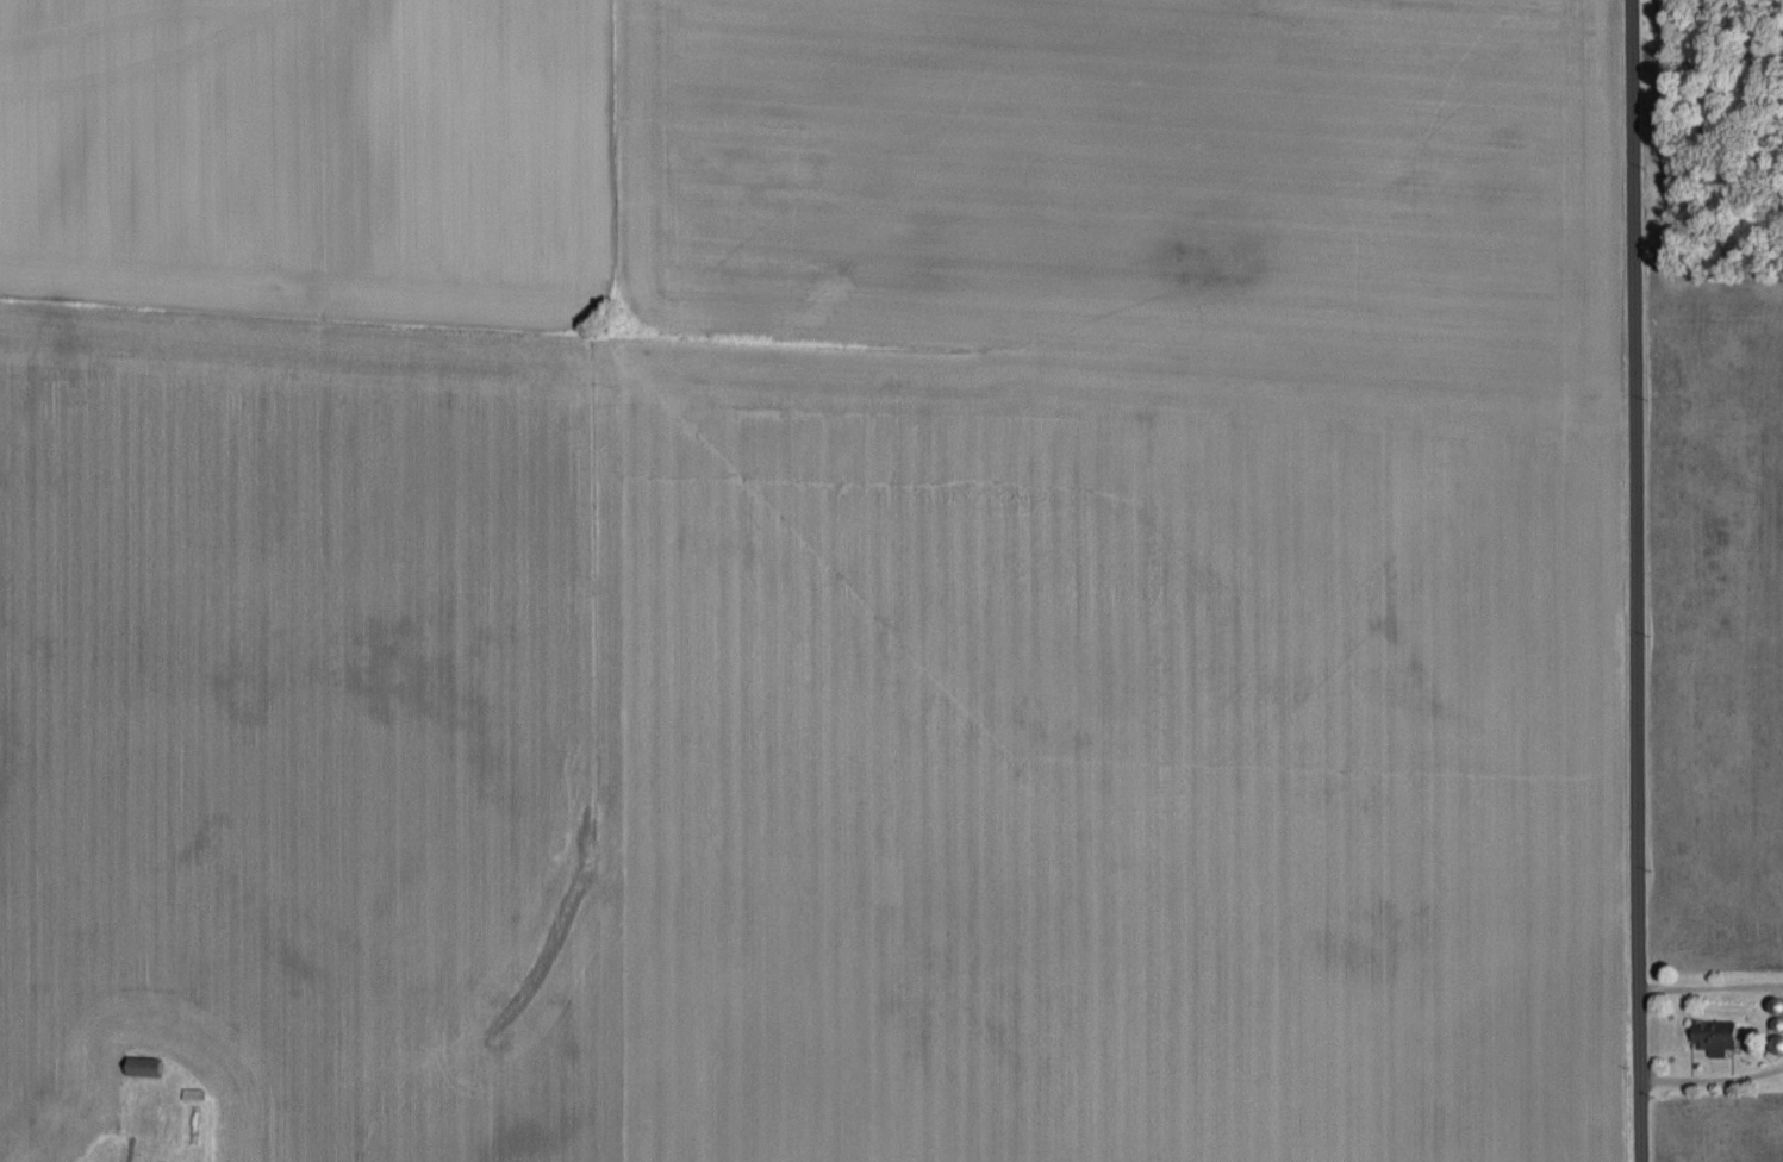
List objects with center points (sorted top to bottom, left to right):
road: (1632, 581)
road: (1710, 991)
building: (1721, 1035)
building: (149, 1064)
road: (1713, 1085)
building: (167, 1161)

